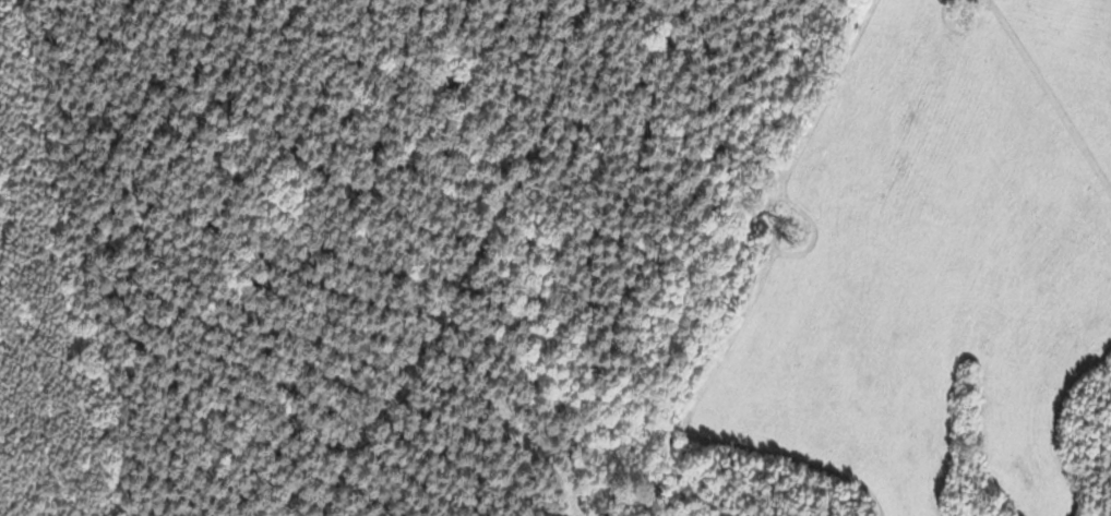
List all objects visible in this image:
road: (985, 26)

